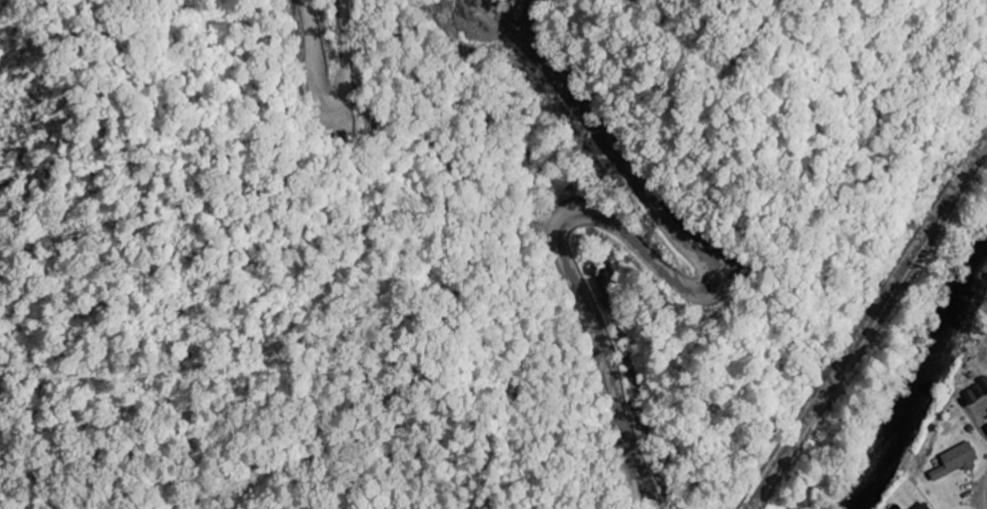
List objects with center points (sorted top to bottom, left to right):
road: (418, 179)
road: (607, 219)
railway: (867, 325)
river: (922, 377)
building: (976, 393)
building: (957, 461)
building: (926, 506)

